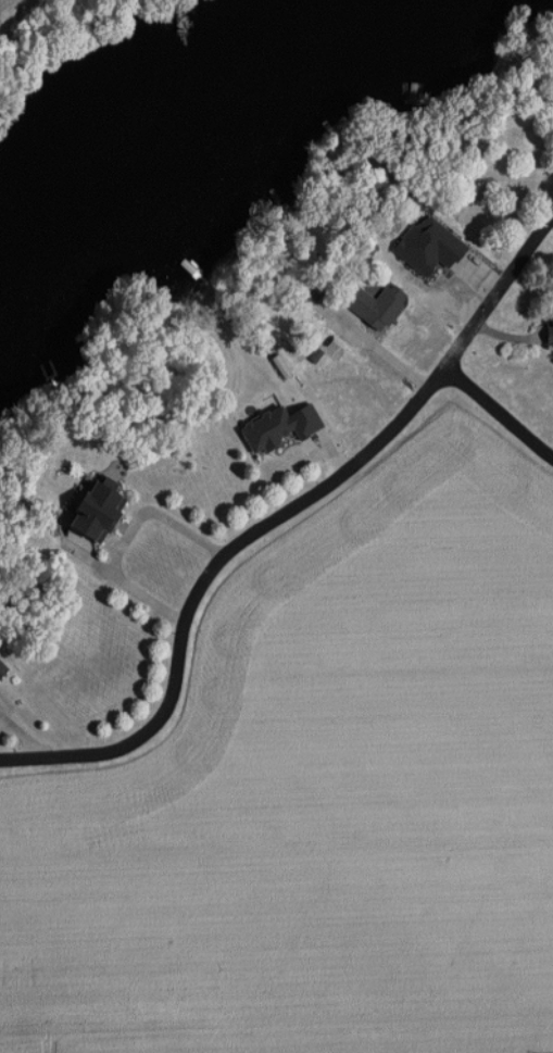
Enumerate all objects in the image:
building: (414, 238)
road: (498, 290)
building: (373, 304)
building: (548, 329)
road: (499, 413)
building: (90, 510)
road: (123, 539)
road: (206, 580)

